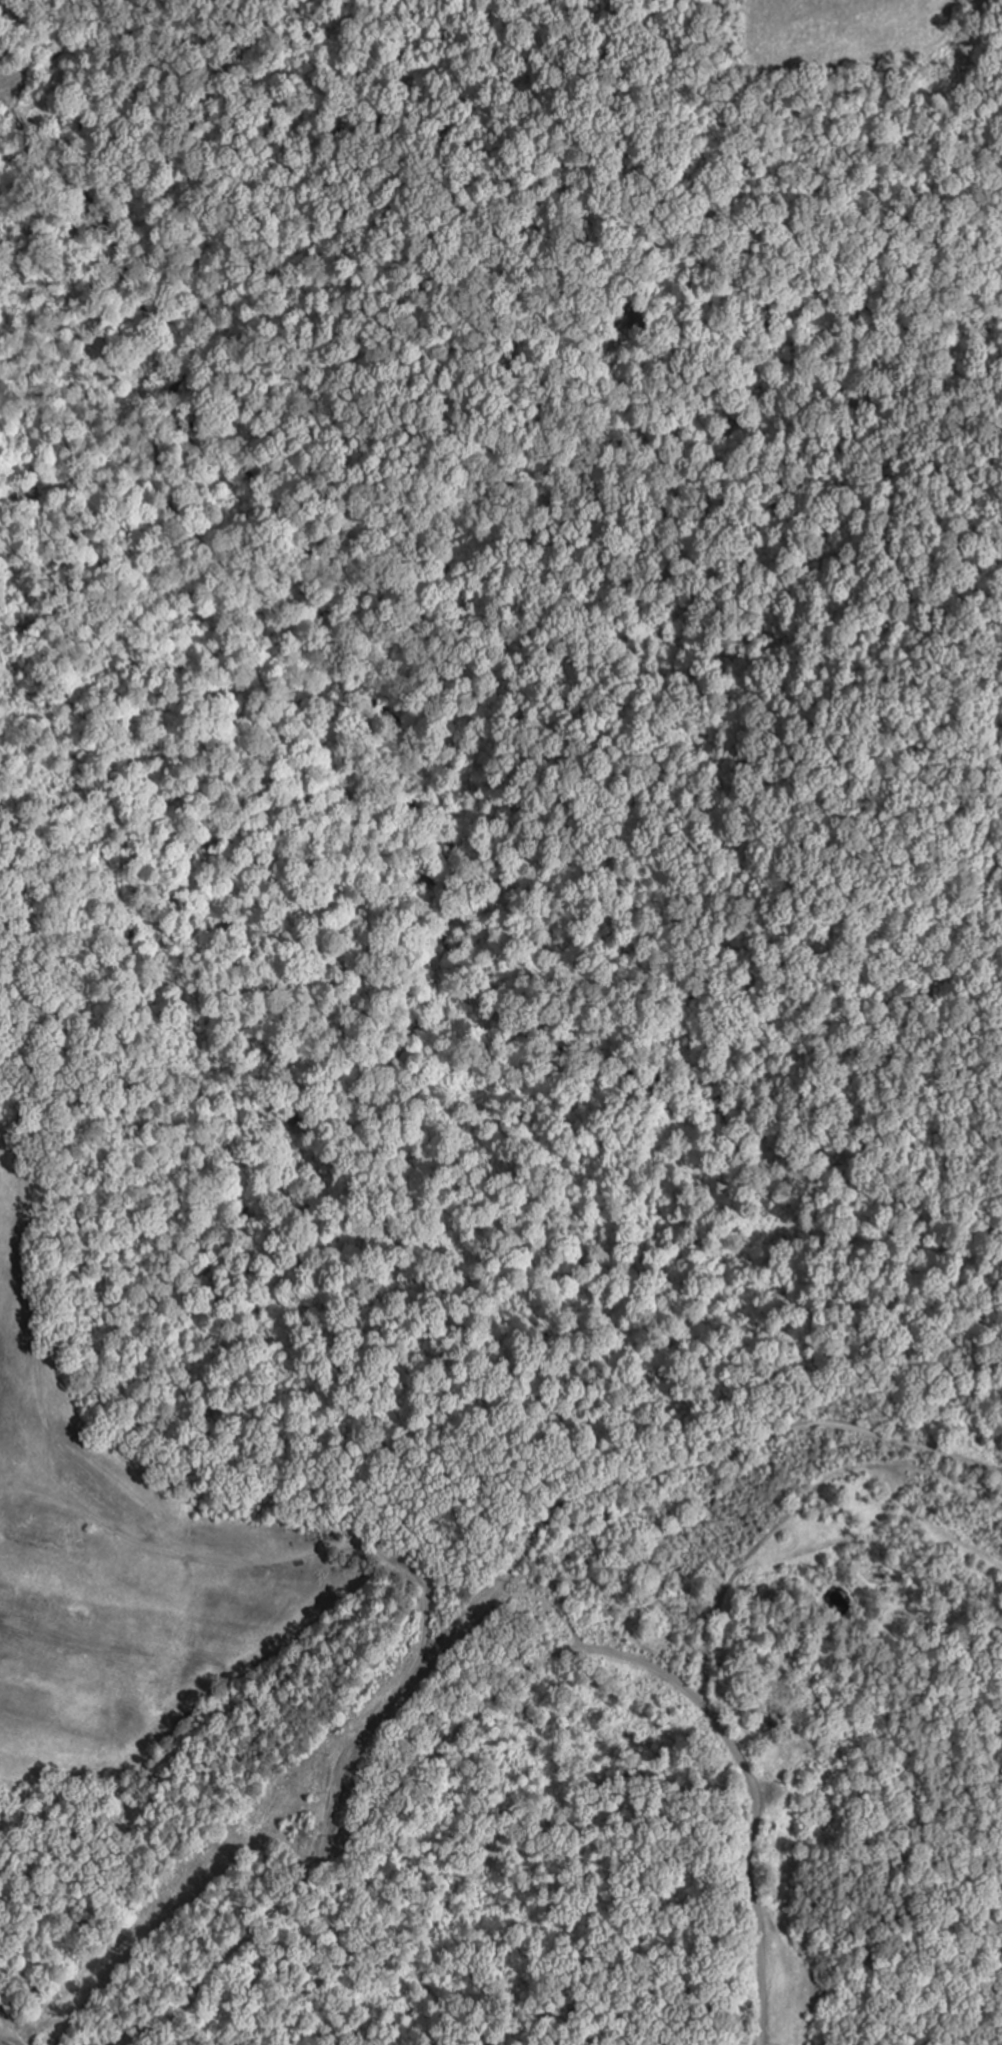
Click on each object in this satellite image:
road: (520, 1674)
building: (775, 1715)

